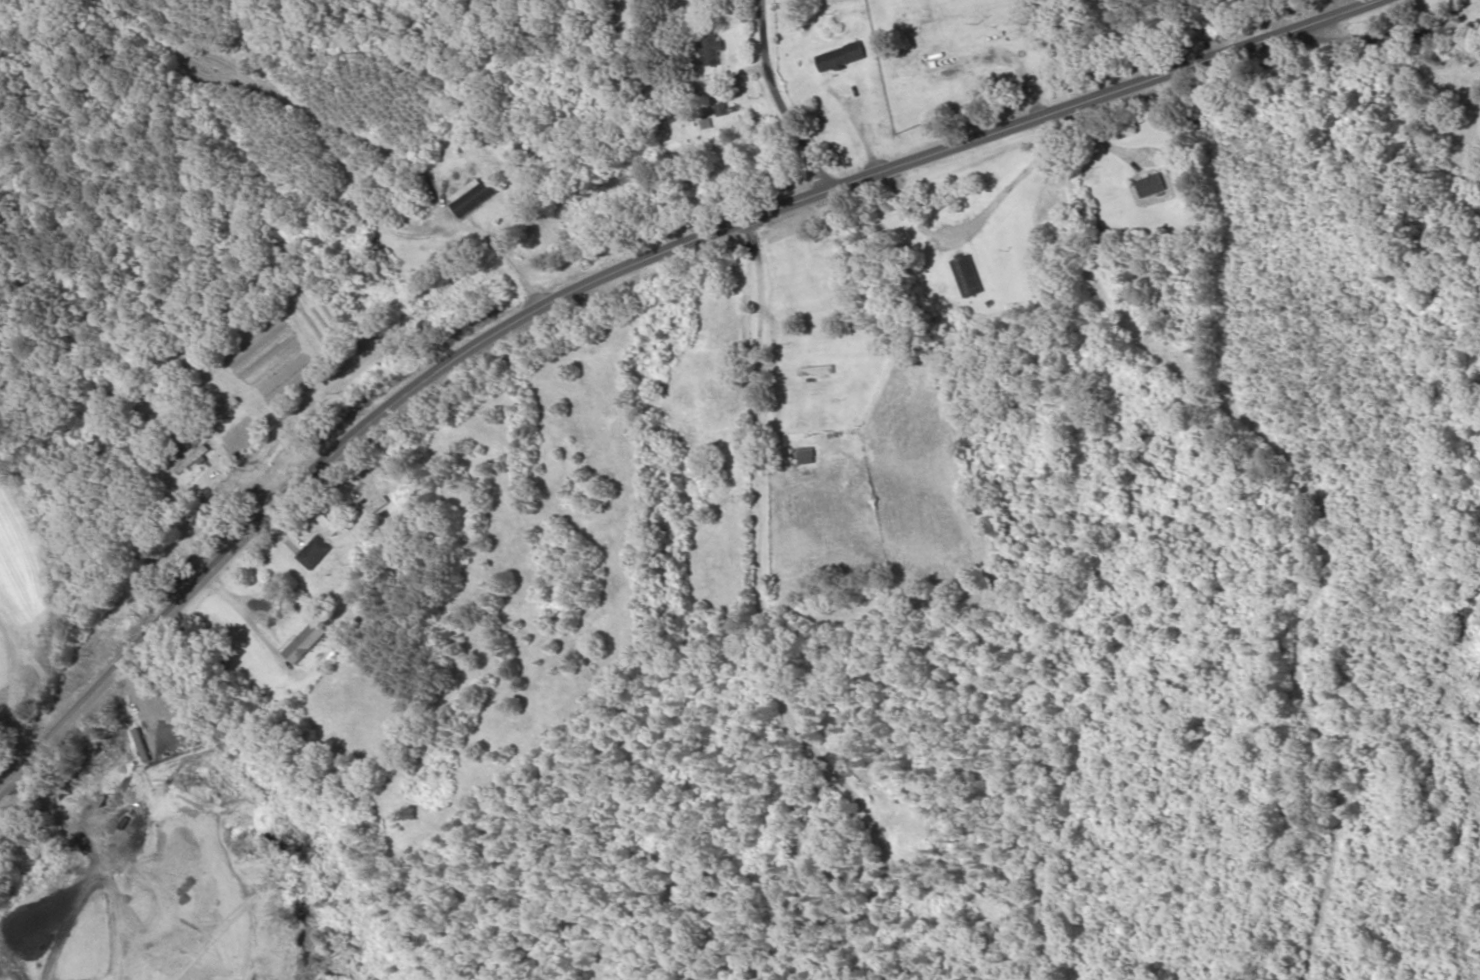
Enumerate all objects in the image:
road: (1391, 42)
building: (711, 49)
building: (842, 59)
road: (772, 96)
building: (1152, 182)
building: (473, 197)
road: (305, 253)
road: (617, 273)
building: (968, 278)
building: (815, 372)
road: (154, 376)
building: (234, 407)
building: (806, 457)
building: (317, 554)
road: (36, 571)
building: (309, 643)
road: (782, 653)
building: (155, 717)

